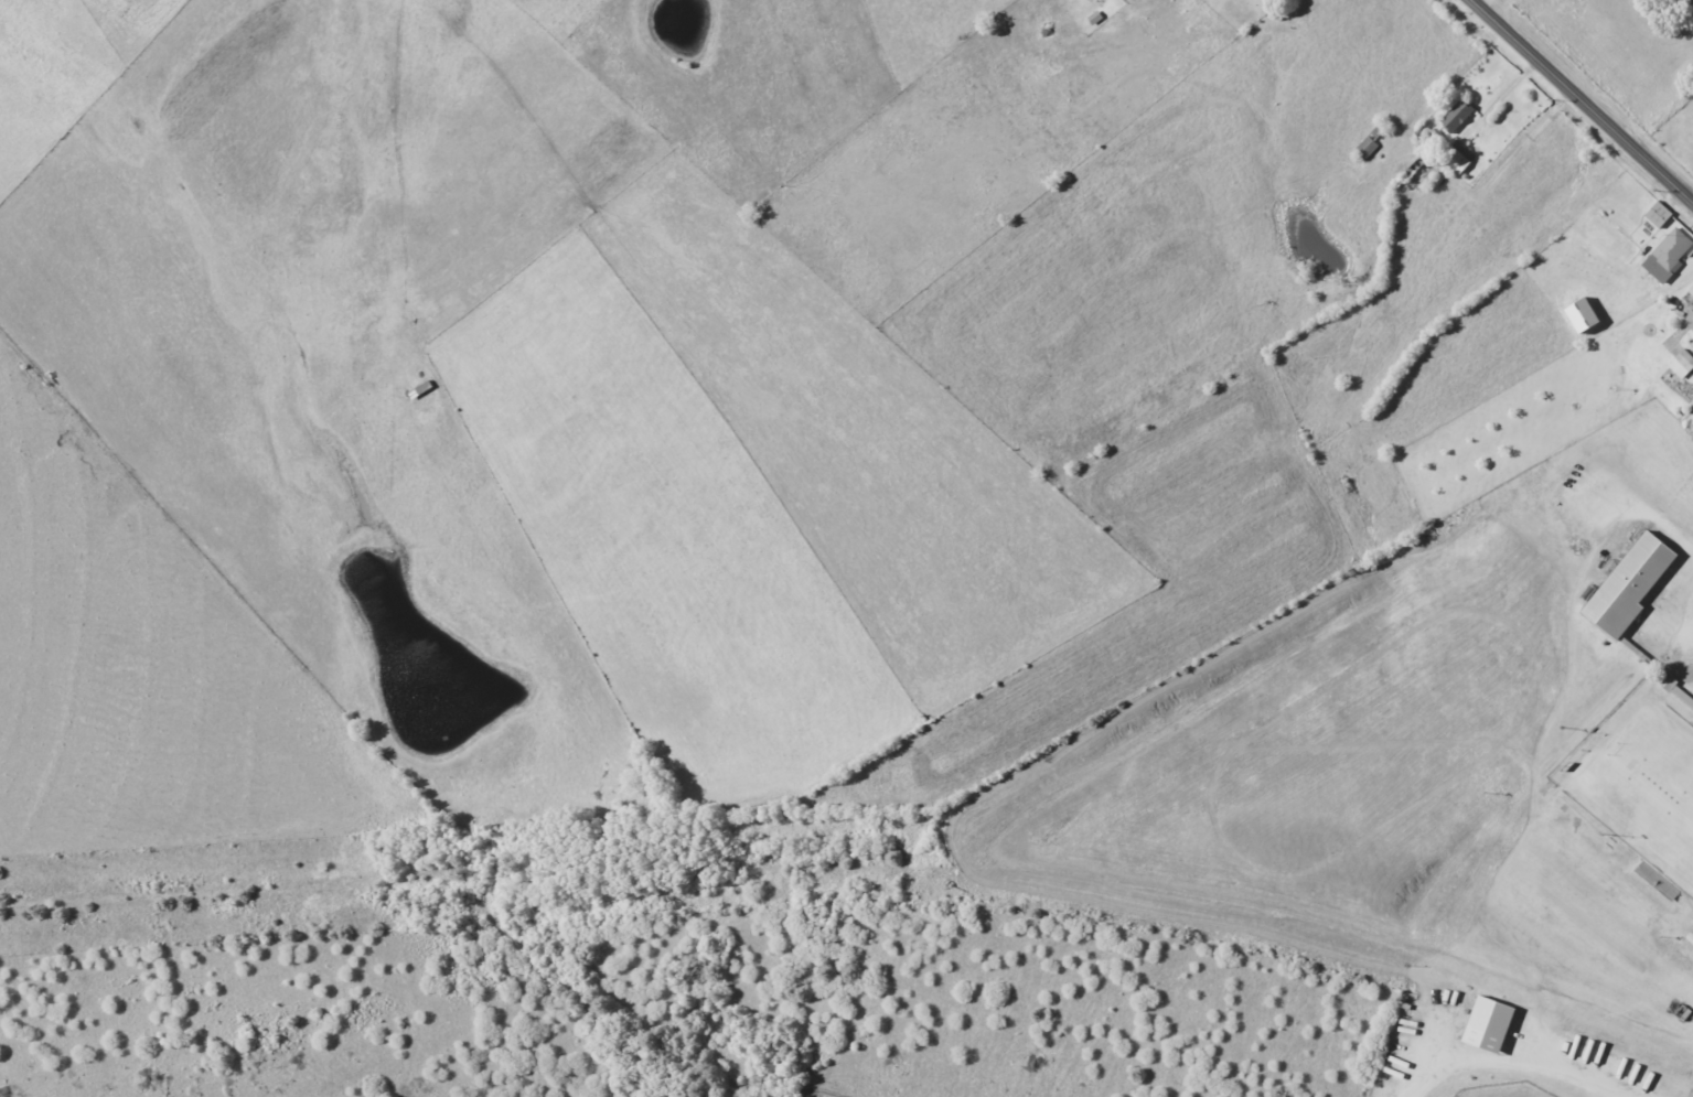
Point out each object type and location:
road: (1586, 99)
building: (1455, 117)
building: (1453, 160)
road: (1455, 180)
building: (1656, 215)
building: (1669, 252)
building: (1690, 290)
building: (1691, 341)
building: (1680, 364)
building: (1631, 602)
park: (1647, 786)
building: (1494, 1023)
road: (1508, 1066)
park: (1503, 1091)

